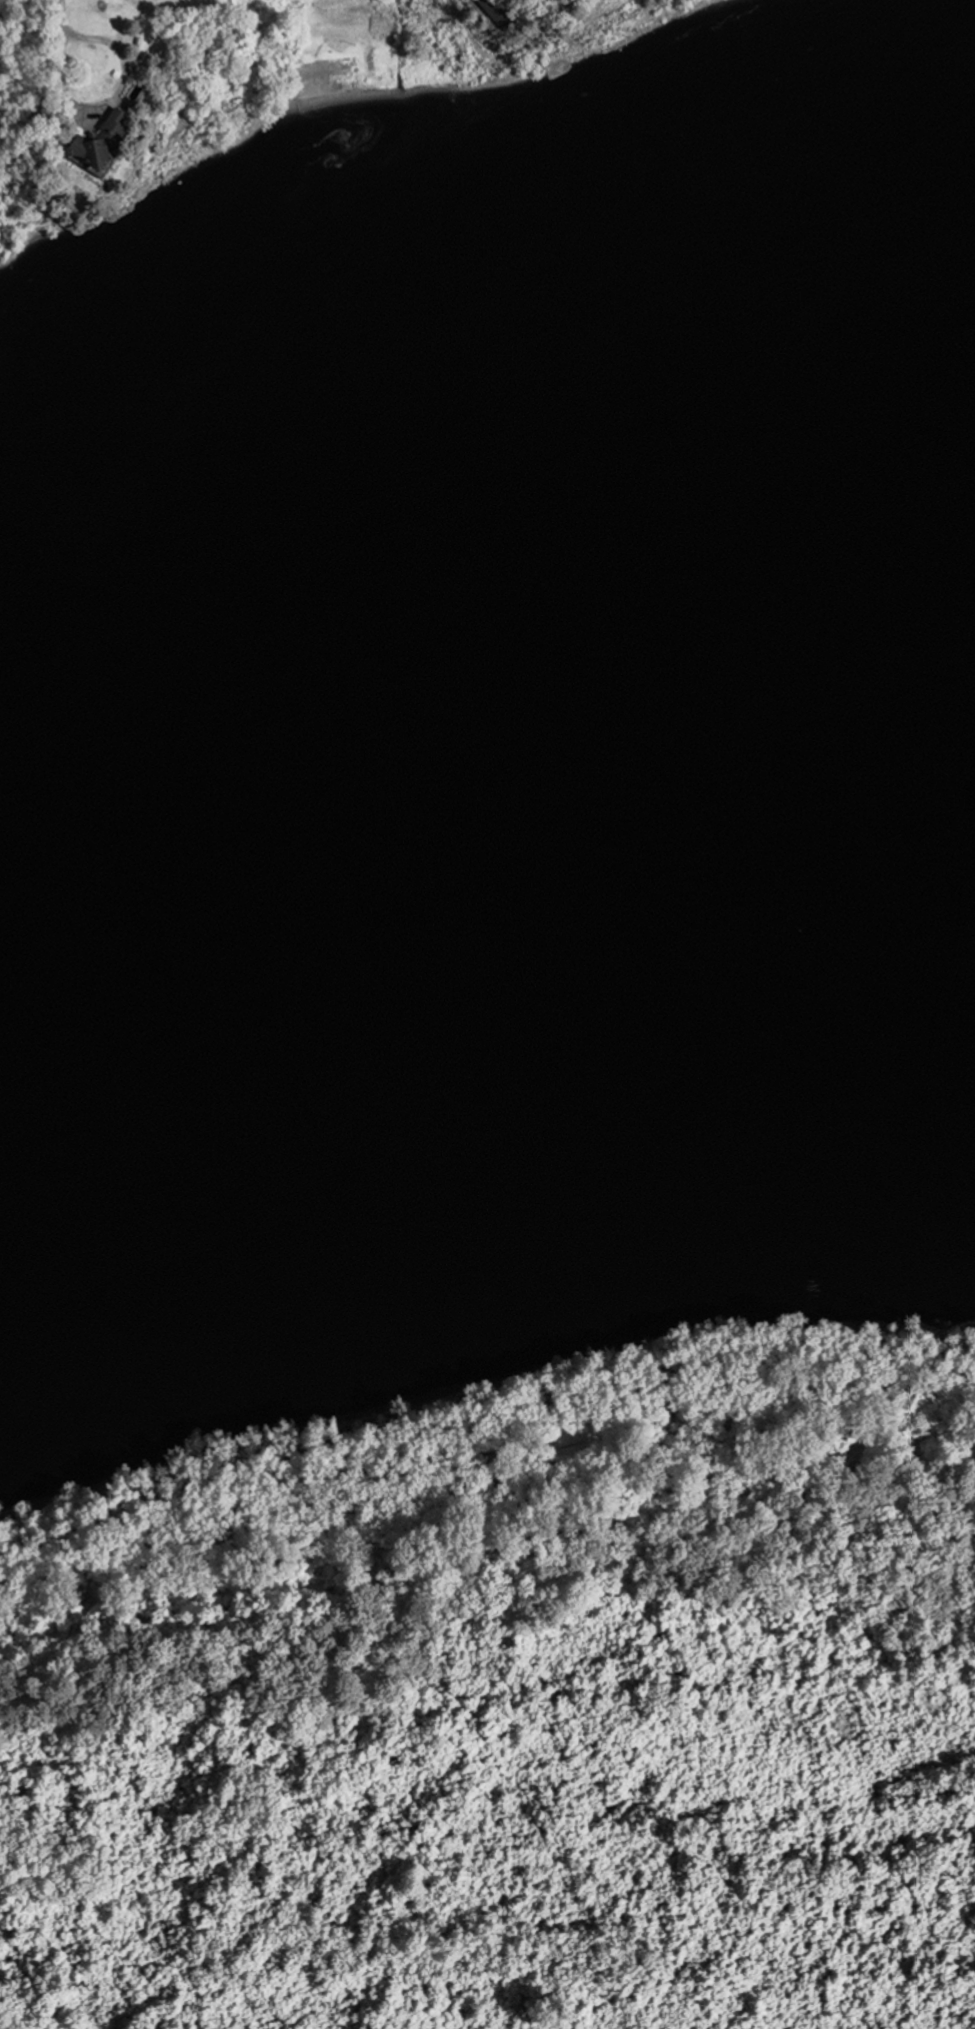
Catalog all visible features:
building: (498, 13)
road: (61, 17)
road: (470, 33)
building: (94, 79)
road: (117, 102)
building: (100, 143)
river: (486, 829)

